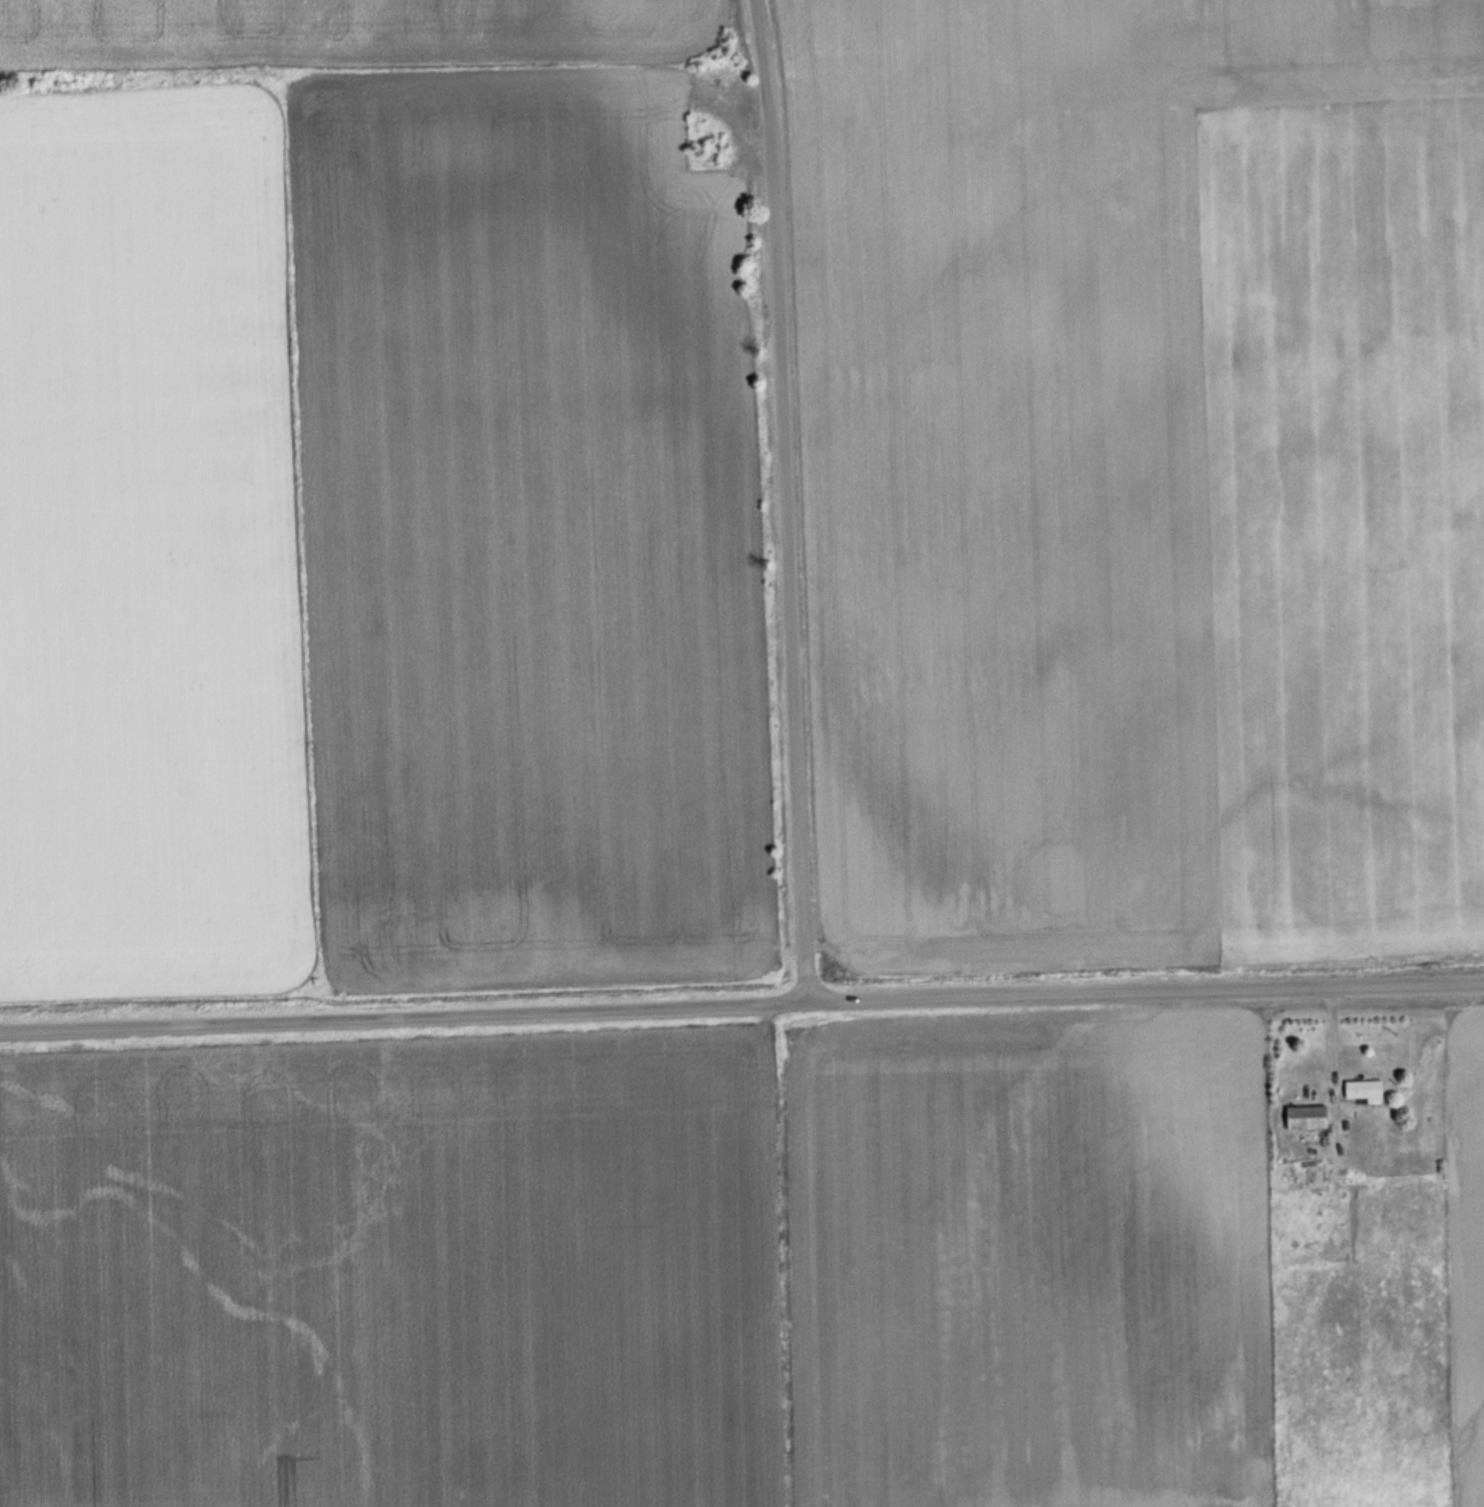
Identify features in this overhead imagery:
road: (782, 498)
road: (741, 1000)
building: (1363, 1088)
building: (1305, 1117)
building: (1315, 1173)

